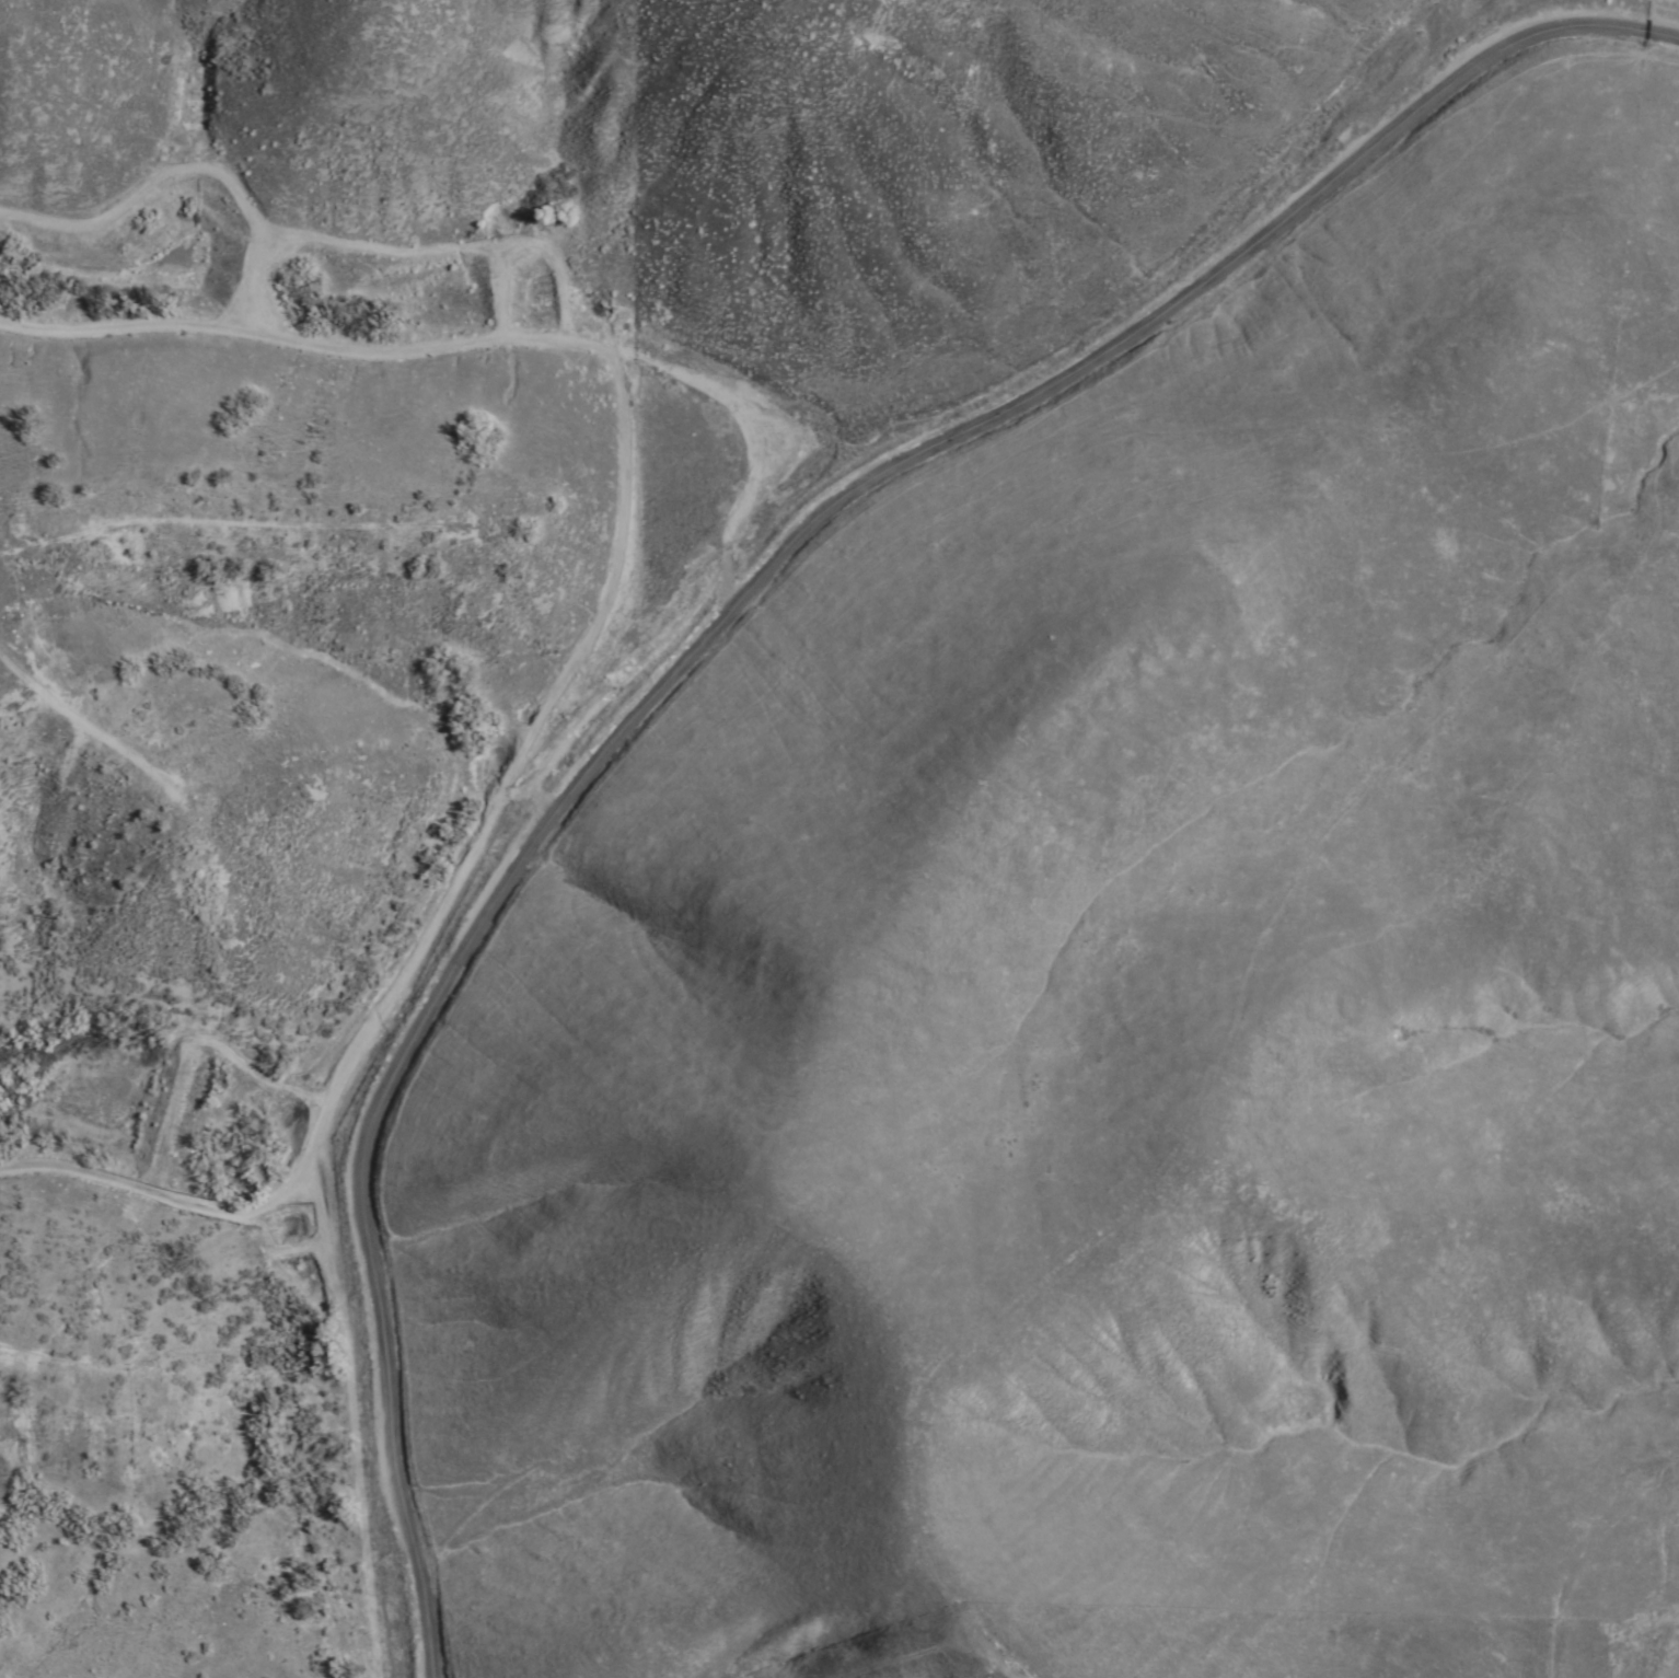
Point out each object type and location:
road: (461, 367)
road: (714, 629)
road: (336, 927)
road: (1514, 1634)

